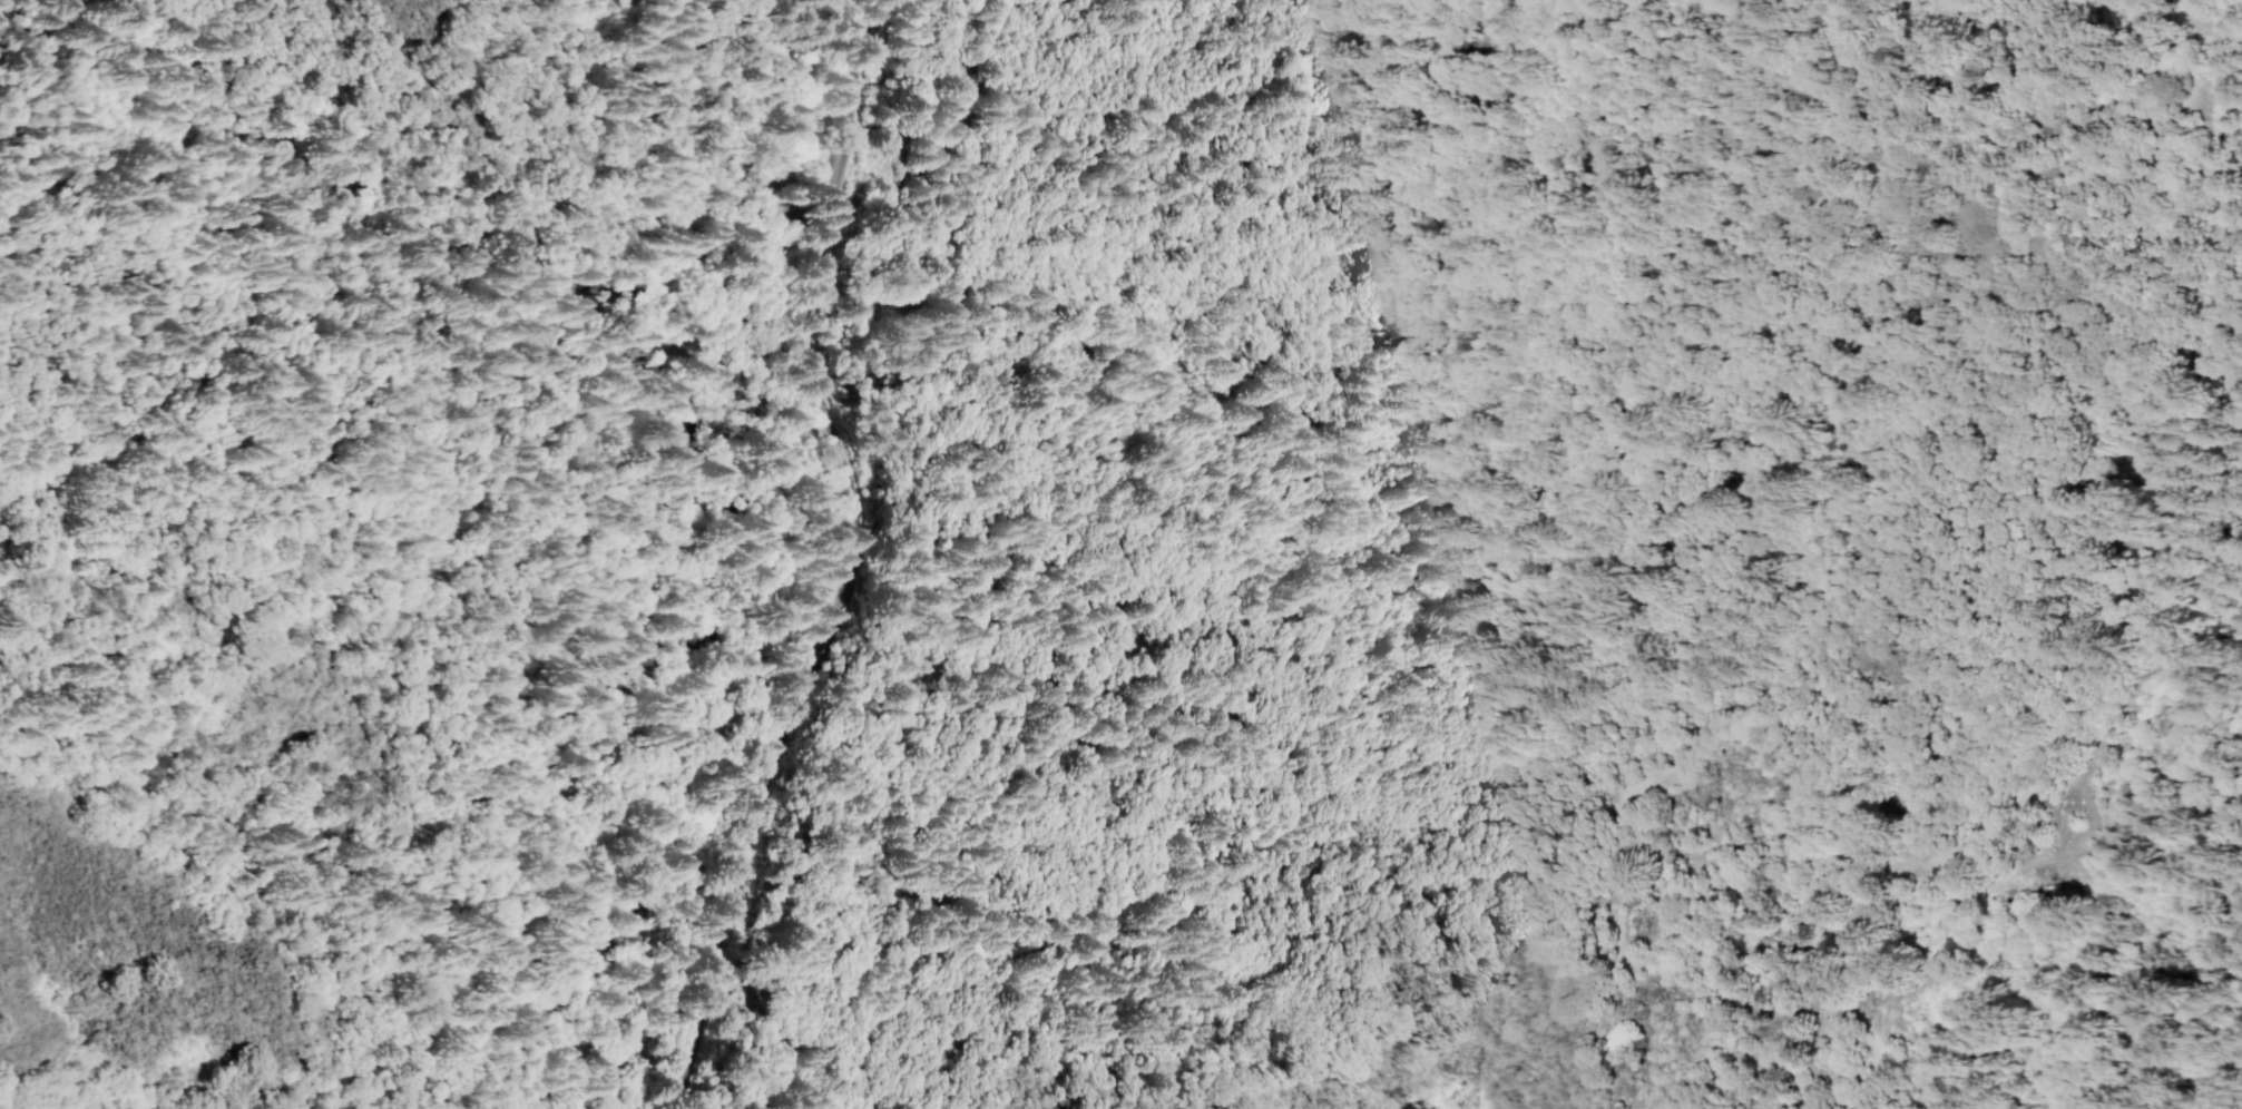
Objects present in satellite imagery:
road: (855, 562)
road: (1582, 866)
road: (2132, 958)

